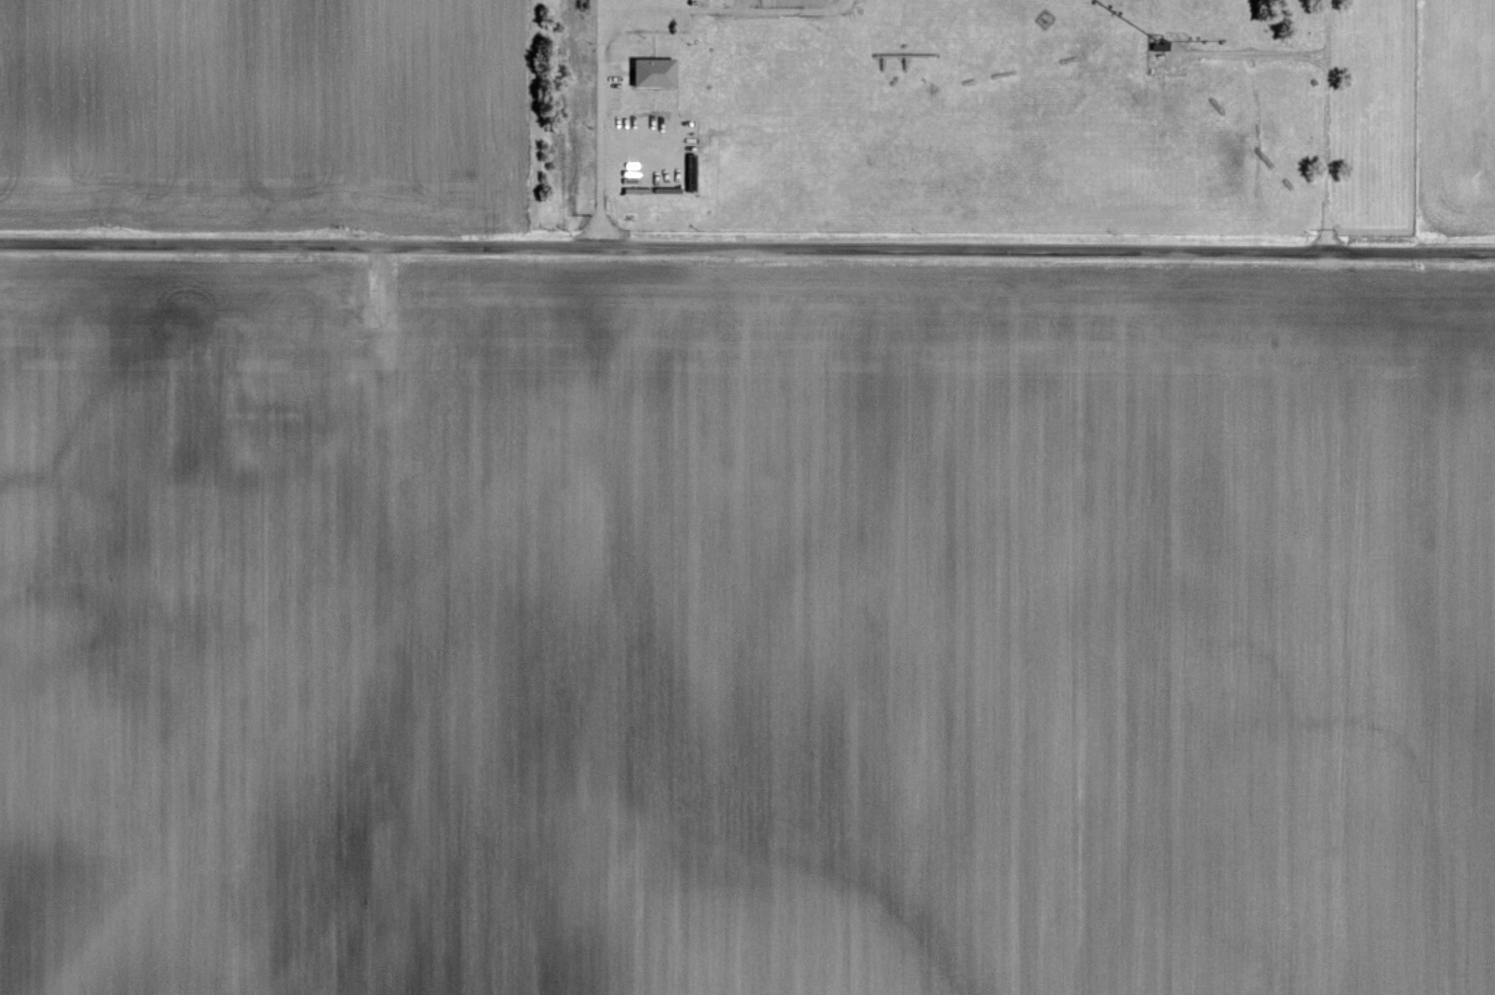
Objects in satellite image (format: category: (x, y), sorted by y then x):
road: (603, 8)
road: (1257, 57)
road: (1328, 126)
road: (747, 247)

